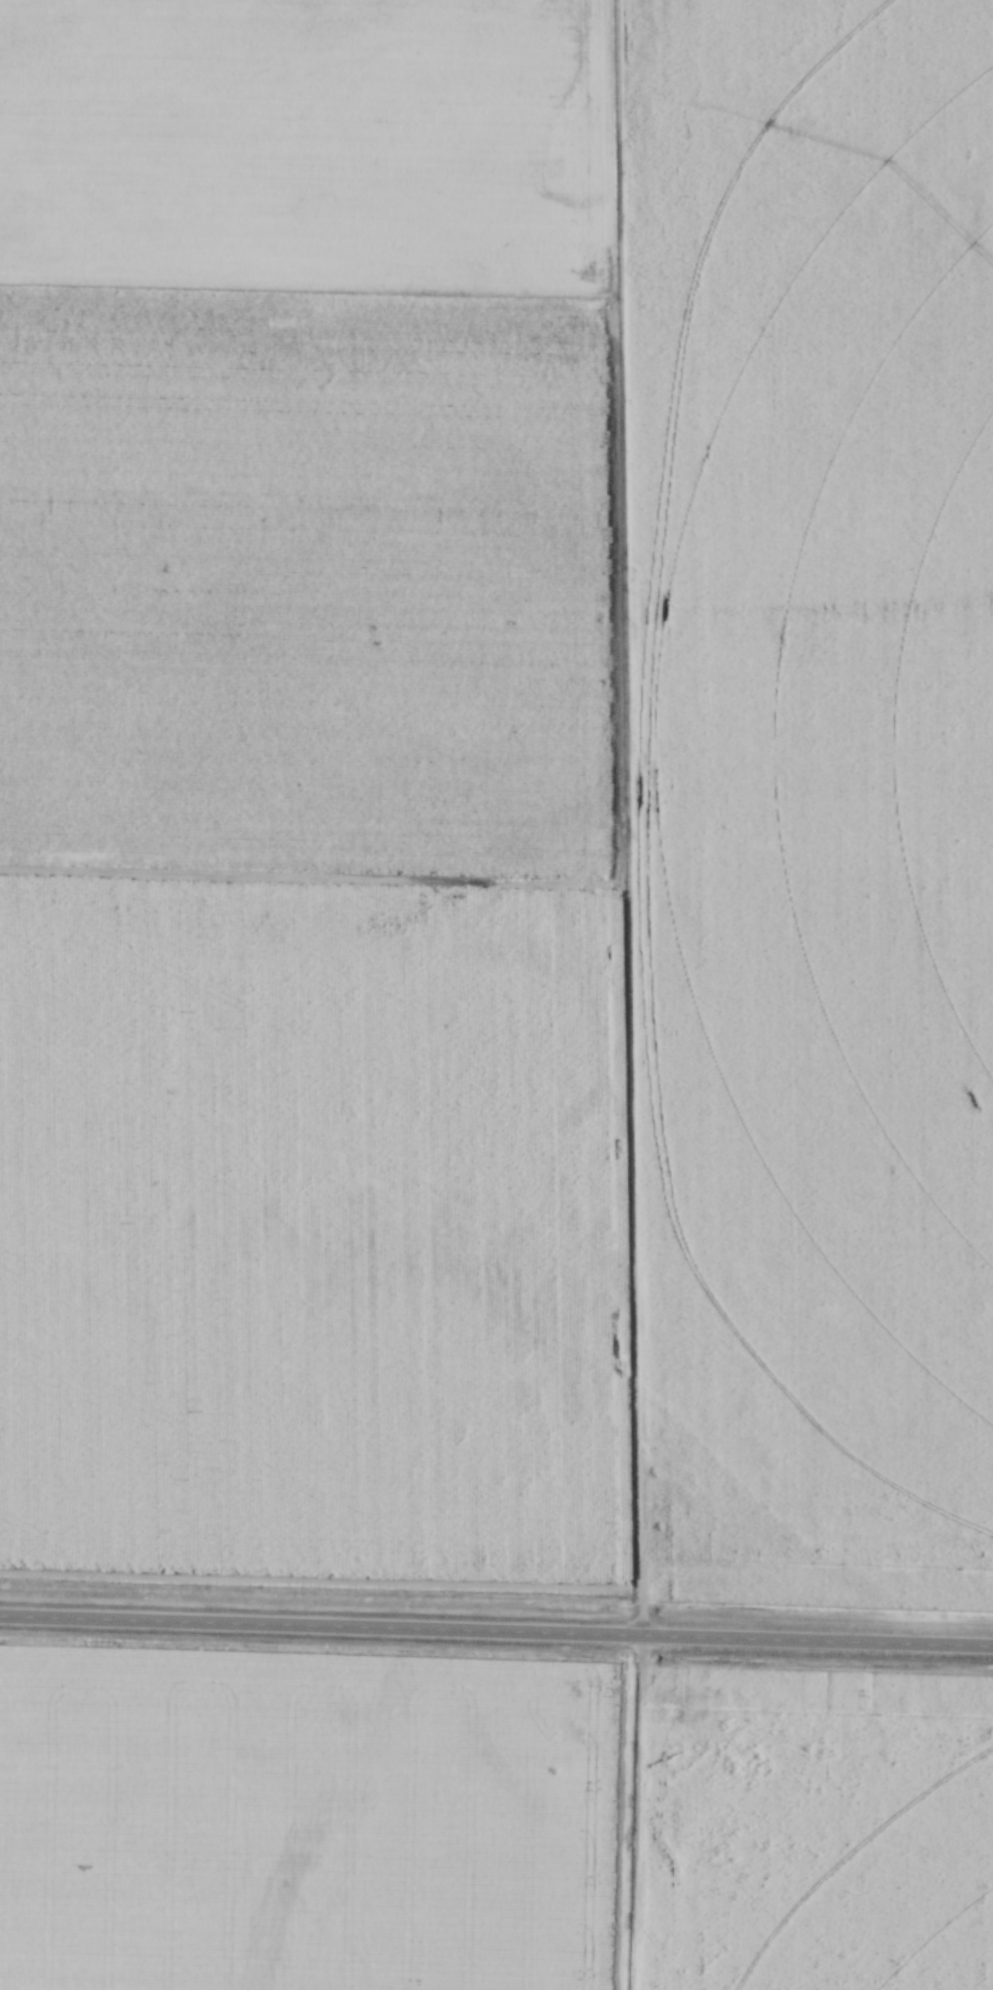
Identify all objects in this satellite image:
road: (496, 1633)

